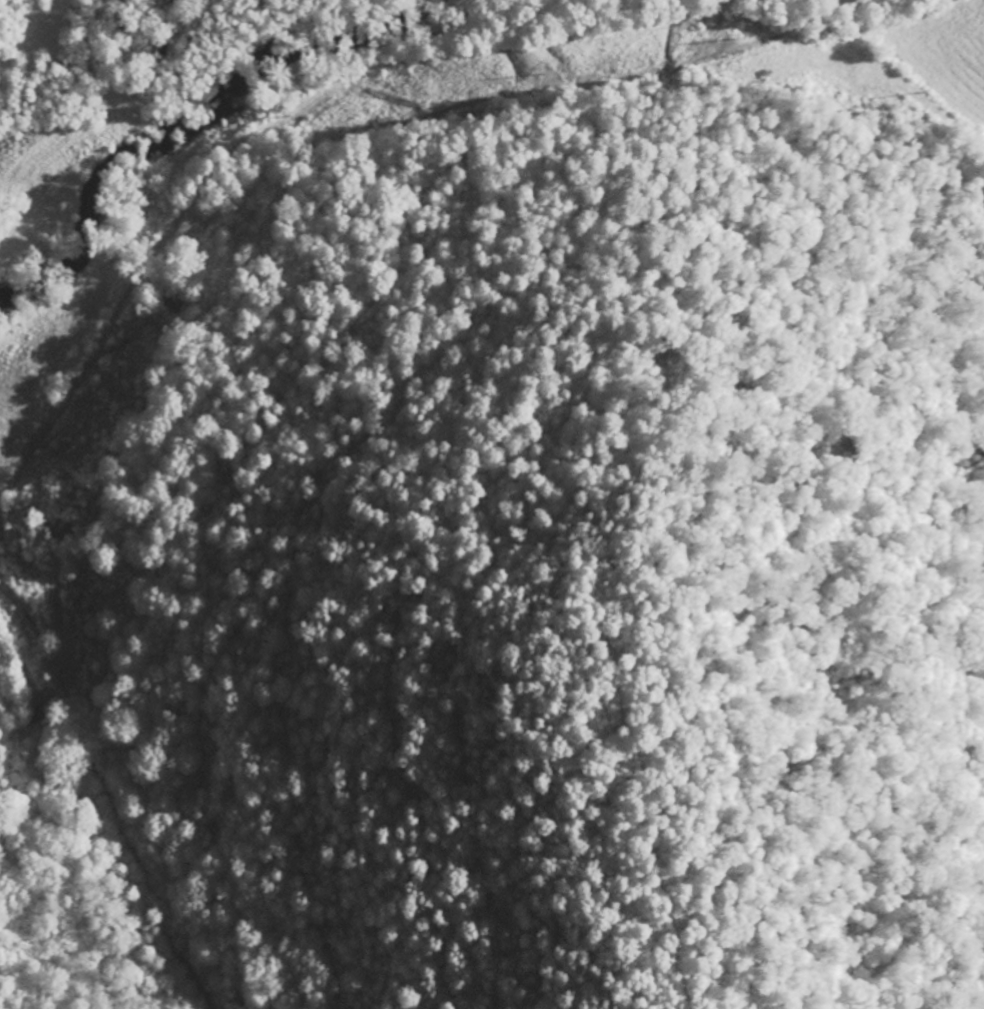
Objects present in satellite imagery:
road: (440, 77)

